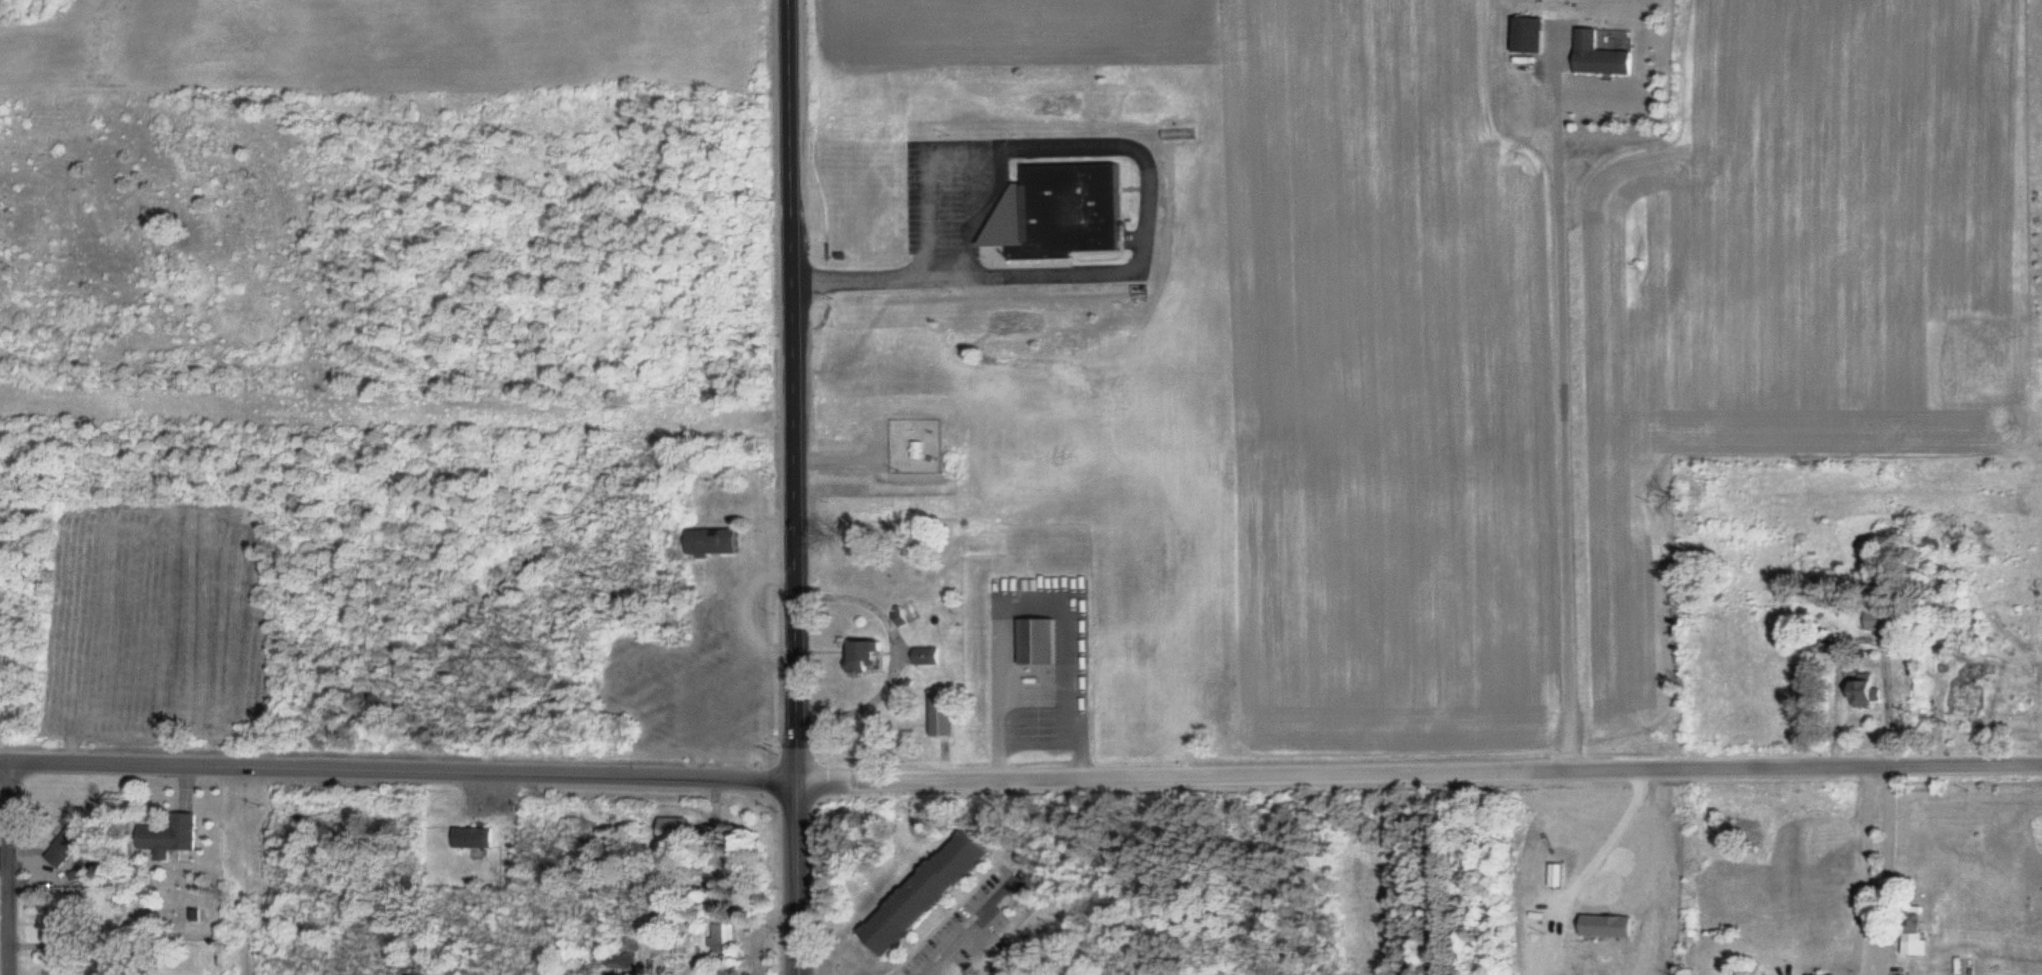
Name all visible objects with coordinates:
building: (1527, 34)
building: (1599, 55)
building: (1077, 207)
road: (792, 388)
building: (921, 448)
building: (718, 541)
building: (904, 617)
building: (1875, 620)
building: (1042, 639)
building: (872, 653)
building: (932, 654)
building: (1973, 668)
building: (1858, 686)
building: (1964, 696)
building: (2012, 700)
building: (950, 712)
road: (400, 766)
road: (1420, 768)
building: (681, 827)
building: (173, 833)
building: (477, 836)
road: (10, 866)
road: (800, 876)
building: (936, 888)
road: (976, 917)
building: (70, 923)
building: (727, 937)
building: (1915, 941)
building: (625, 958)
building: (1825, 973)

